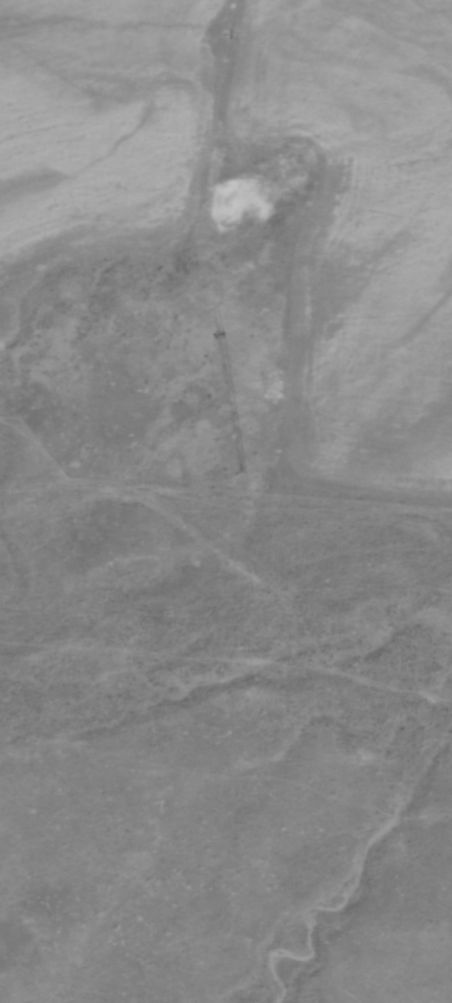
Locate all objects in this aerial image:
crop: (367, 253)

